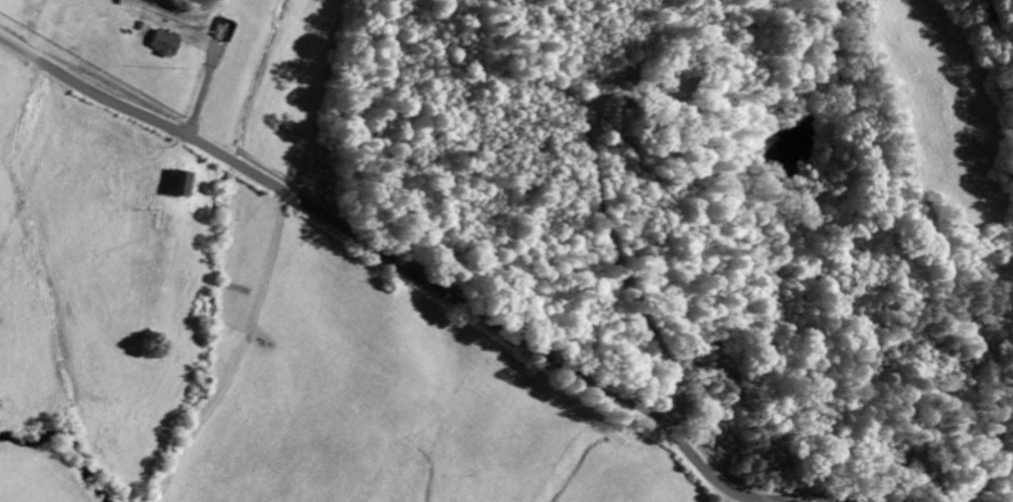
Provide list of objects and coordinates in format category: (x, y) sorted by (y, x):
building: (166, 43)
building: (180, 181)
road: (415, 274)

